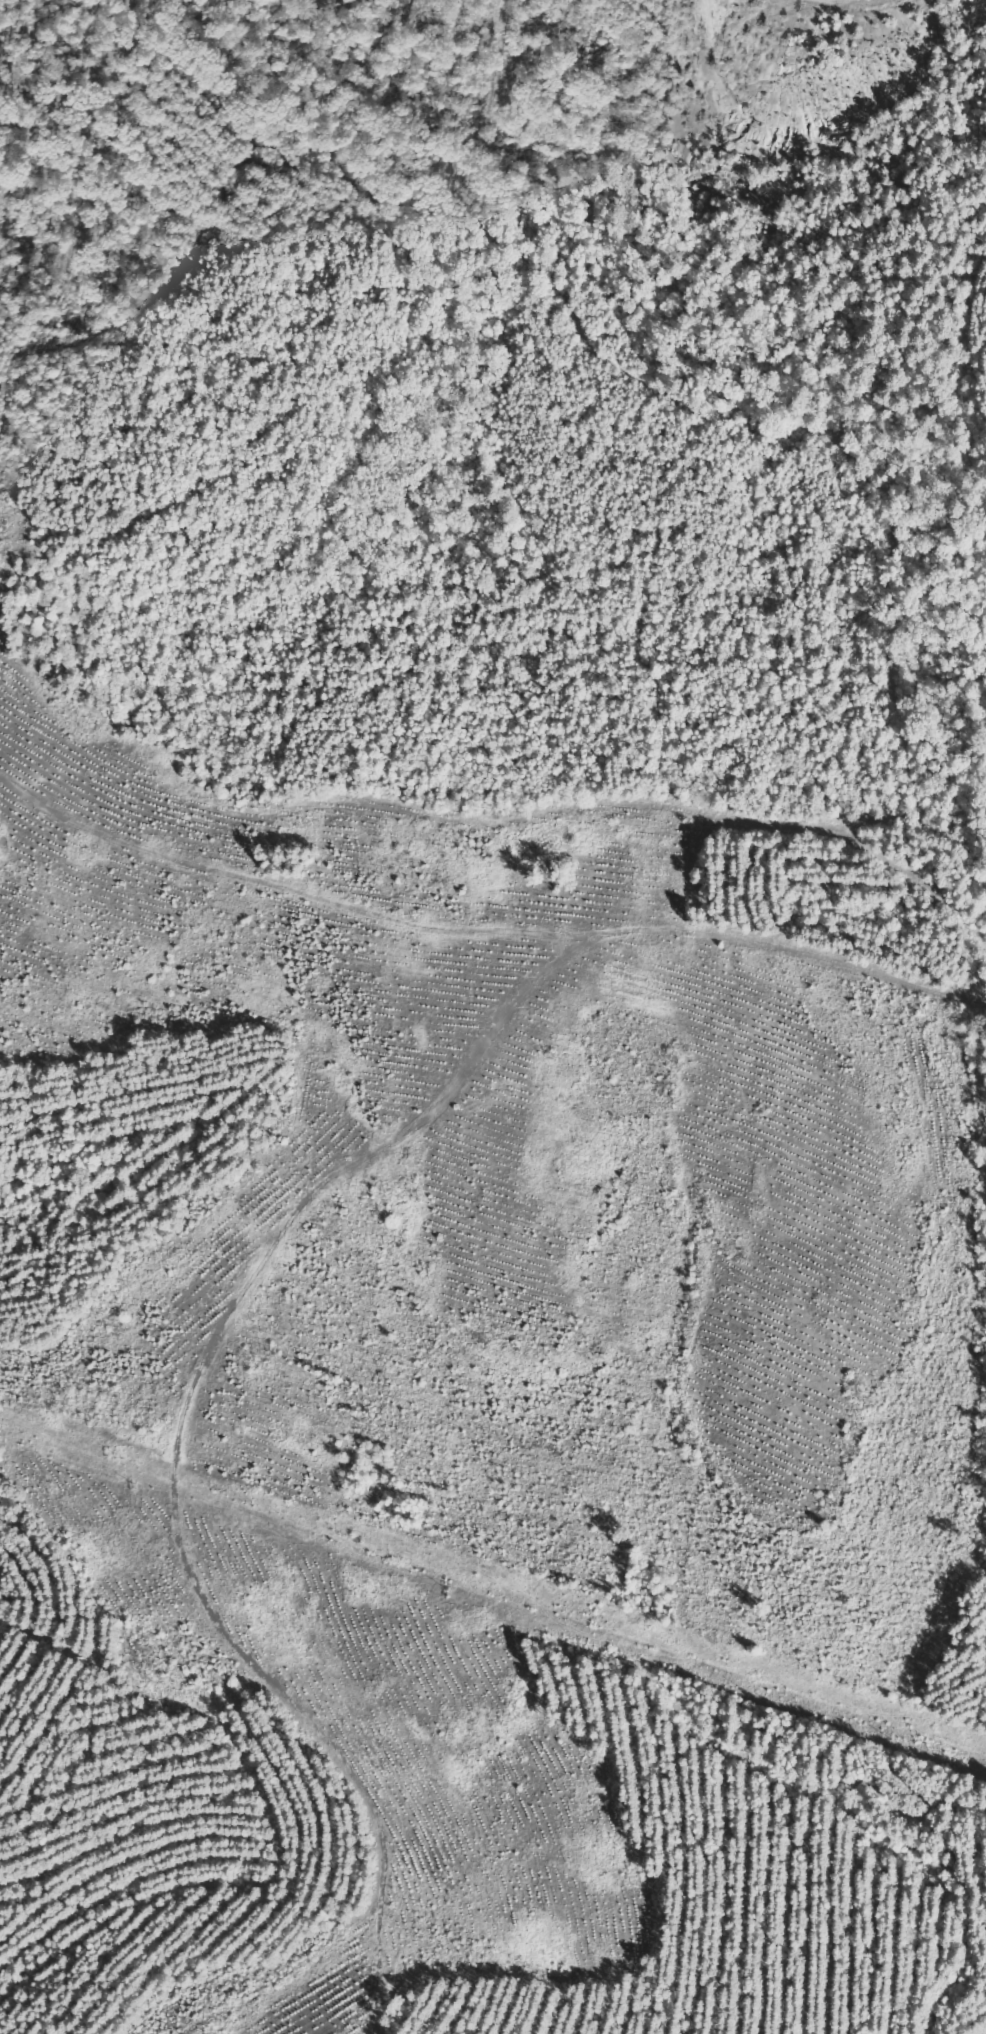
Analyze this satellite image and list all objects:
road: (162, 1992)

